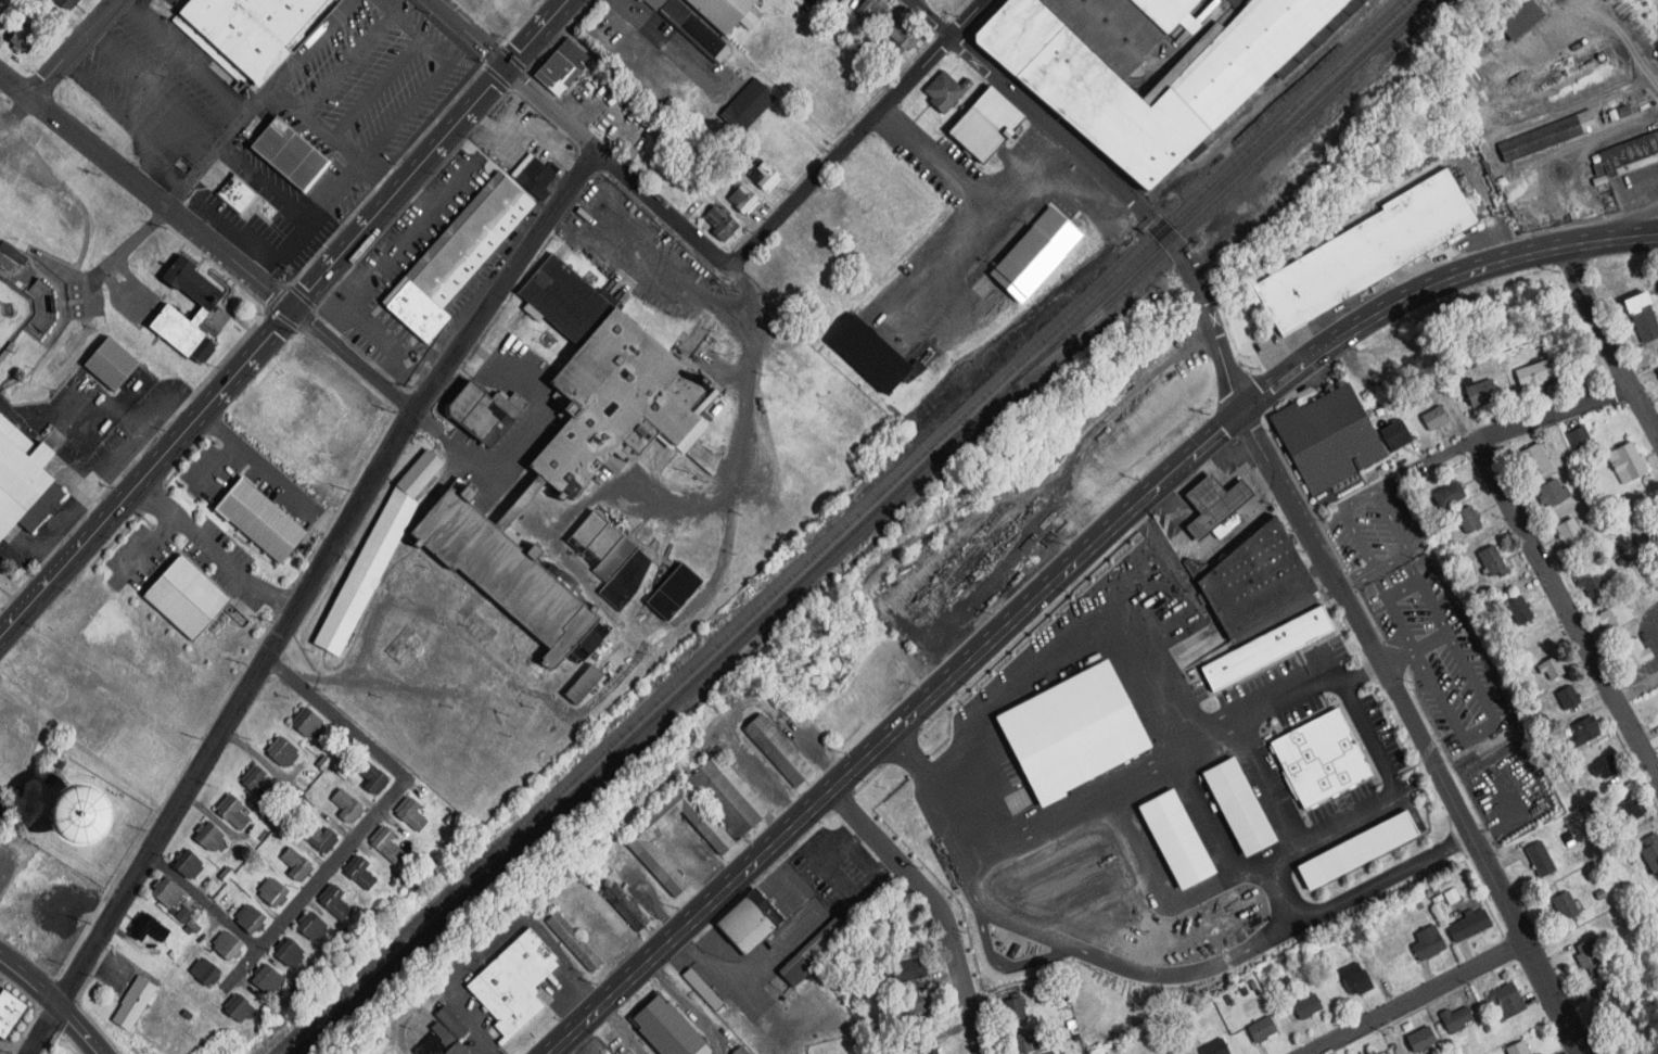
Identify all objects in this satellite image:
building: (0, 1)
building: (65, 3)
road: (140, 5)
building: (869, 7)
building: (709, 18)
building: (1523, 22)
building: (256, 29)
road: (469, 37)
road: (1625, 37)
building: (900, 38)
building: (21, 41)
road: (310, 42)
road: (74, 49)
road: (182, 54)
building: (574, 54)
road: (349, 63)
building: (557, 73)
traffic signals: (511, 74)
parking lot: (383, 77)
road: (436, 78)
road: (156, 86)
road: (378, 87)
parking lot: (161, 90)
building: (944, 91)
building: (1084, 94)
road: (259, 99)
road: (113, 104)
building: (747, 105)
building: (1627, 109)
road: (318, 123)
building: (986, 125)
road: (230, 127)
road: (860, 134)
building: (1548, 138)
building: (1631, 151)
road: (1493, 152)
building: (291, 155)
road: (149, 165)
road: (168, 174)
building: (535, 174)
building: (765, 175)
road: (192, 177)
road: (383, 177)
building: (860, 181)
road: (1109, 182)
road: (970, 185)
road: (335, 192)
road: (148, 193)
building: (238, 194)
railway: (1226, 195)
building: (744, 199)
road: (282, 201)
road: (662, 208)
road: (226, 224)
building: (720, 224)
parking lot: (256, 225)
road: (1631, 229)
building: (474, 244)
road: (957, 252)
building: (1035, 253)
building: (1366, 254)
road: (120, 256)
road: (260, 269)
parking lot: (401, 269)
road: (672, 272)
road: (505, 282)
building: (192, 283)
parking lot: (78, 302)
building: (42, 306)
traffic signals: (296, 312)
building: (419, 313)
building: (1643, 318)
road: (289, 319)
stadium: (33, 328)
building: (182, 335)
road: (1608, 342)
building: (869, 355)
road: (355, 361)
building: (112, 365)
building: (1532, 374)
building: (601, 378)
building: (1481, 393)
building: (487, 410)
traffic signals: (1242, 412)
building: (1436, 418)
road: (1521, 426)
building: (1395, 435)
building: (1581, 435)
building: (1328, 437)
road: (509, 452)
road: (1233, 452)
road: (741, 454)
building: (1535, 459)
road: (1214, 461)
building: (1629, 461)
building: (612, 463)
building: (24, 482)
road: (1373, 491)
building: (1552, 493)
building: (1447, 495)
building: (1217, 501)
building: (1468, 519)
building: (260, 521)
building: (1225, 522)
railway: (841, 525)
railway: (854, 525)
building: (1570, 531)
building: (1651, 533)
road: (149, 546)
road: (213, 551)
building: (374, 556)
building: (611, 558)
building: (1492, 561)
road: (1063, 575)
road: (1357, 576)
building: (507, 577)
building: (1255, 580)
building: (1590, 581)
road: (1403, 586)
building: (674, 592)
building: (187, 598)
road: (1566, 609)
building: (1520, 611)
building: (1611, 617)
road: (1647, 621)
road: (457, 634)
building: (1266, 648)
road: (1417, 649)
building: (1634, 653)
road: (1044, 663)
building: (1552, 668)
building: (586, 682)
road: (1637, 690)
building: (1568, 696)
road: (1280, 697)
road: (741, 707)
road: (234, 708)
building: (307, 723)
road: (1480, 729)
building: (1073, 731)
road: (1416, 732)
building: (1582, 732)
building: (778, 750)
building: (282, 752)
building: (1321, 759)
building: (1604, 766)
building: (371, 777)
road: (1271, 778)
building: (256, 784)
building: (734, 789)
road: (394, 797)
road: (1074, 800)
building: (346, 805)
building: (1238, 807)
building: (1630, 810)
building: (231, 814)
building: (410, 815)
road: (951, 821)
water tower: (77, 825)
building: (0, 835)
building: (208, 836)
road: (858, 836)
building: (319, 838)
building: (1176, 839)
building: (636, 841)
building: (385, 845)
road: (1283, 850)
building: (1357, 851)
building: (1650, 851)
road: (865, 858)
building: (1541, 859)
building: (187, 865)
building: (296, 865)
road: (816, 867)
building: (359, 874)
road: (1385, 876)
road: (1284, 889)
road: (857, 891)
building: (166, 893)
building: (273, 893)
building: (1452, 894)
road: (204, 901)
building: (333, 903)
road: (934, 904)
road: (1654, 904)
building: (1565, 905)
building: (626, 906)
building: (183, 915)
building: (251, 919)
building: (749, 923)
building: (889, 923)
building: (1469, 926)
building: (311, 927)
building: (151, 929)
road: (1031, 929)
building: (1354, 932)
building: (826, 939)
building: (574, 942)
building: (1428, 942)
building: (227, 947)
road: (780, 947)
building: (289, 953)
road: (475, 954)
road: (1099, 955)
building: (1592, 957)
building: (798, 968)
road: (242, 969)
building: (906, 970)
building: (208, 975)
building: (264, 978)
building: (1359, 982)
road: (28, 983)
road: (585, 983)
building: (513, 985)
building: (704, 988)
road: (728, 989)
road: (1414, 996)
building: (1507, 999)
building: (1615, 1002)
building: (131, 1003)
building: (914, 1003)
road: (690, 1004)
building: (1306, 1006)
building: (235, 1007)
building: (1013, 1009)
building: (9, 1014)
building: (1455, 1017)
road: (624, 1027)
building: (664, 1027)
road: (42, 1029)
road: (77, 1029)
building: (1261, 1029)
building: (445, 1036)
building: (1420, 1040)
building: (1021, 1041)
road: (581, 1043)
building: (1215, 1047)
building: (1517, 1047)
building: (742, 1050)
building: (930, 1052)
building: (1057, 1052)
building: (934, 1053)
building: (1173, 1053)
building: (1540, 1053)

